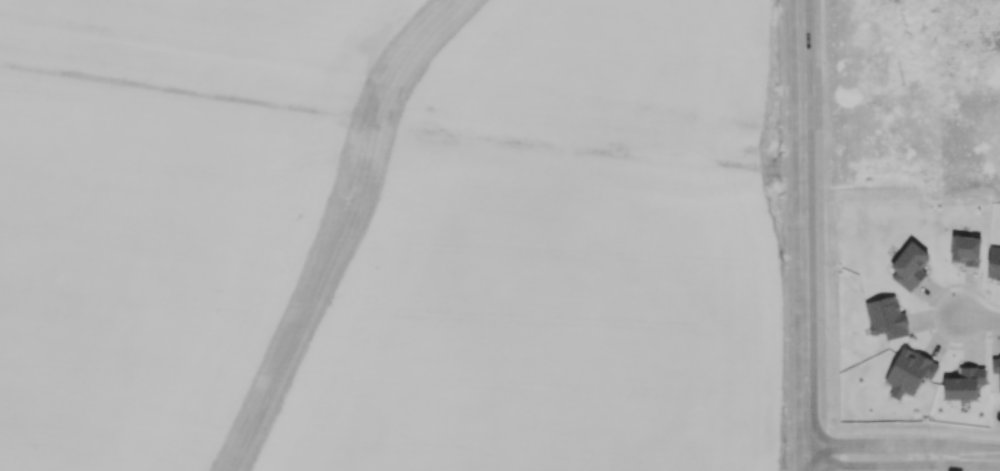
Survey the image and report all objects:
road: (798, 64)
road: (790, 165)
road: (333, 231)
road: (820, 235)
building: (965, 250)
building: (993, 262)
building: (909, 266)
road: (801, 299)
road: (981, 308)
building: (886, 317)
building: (996, 367)
building: (909, 371)
building: (964, 383)
road: (901, 445)
road: (901, 465)

